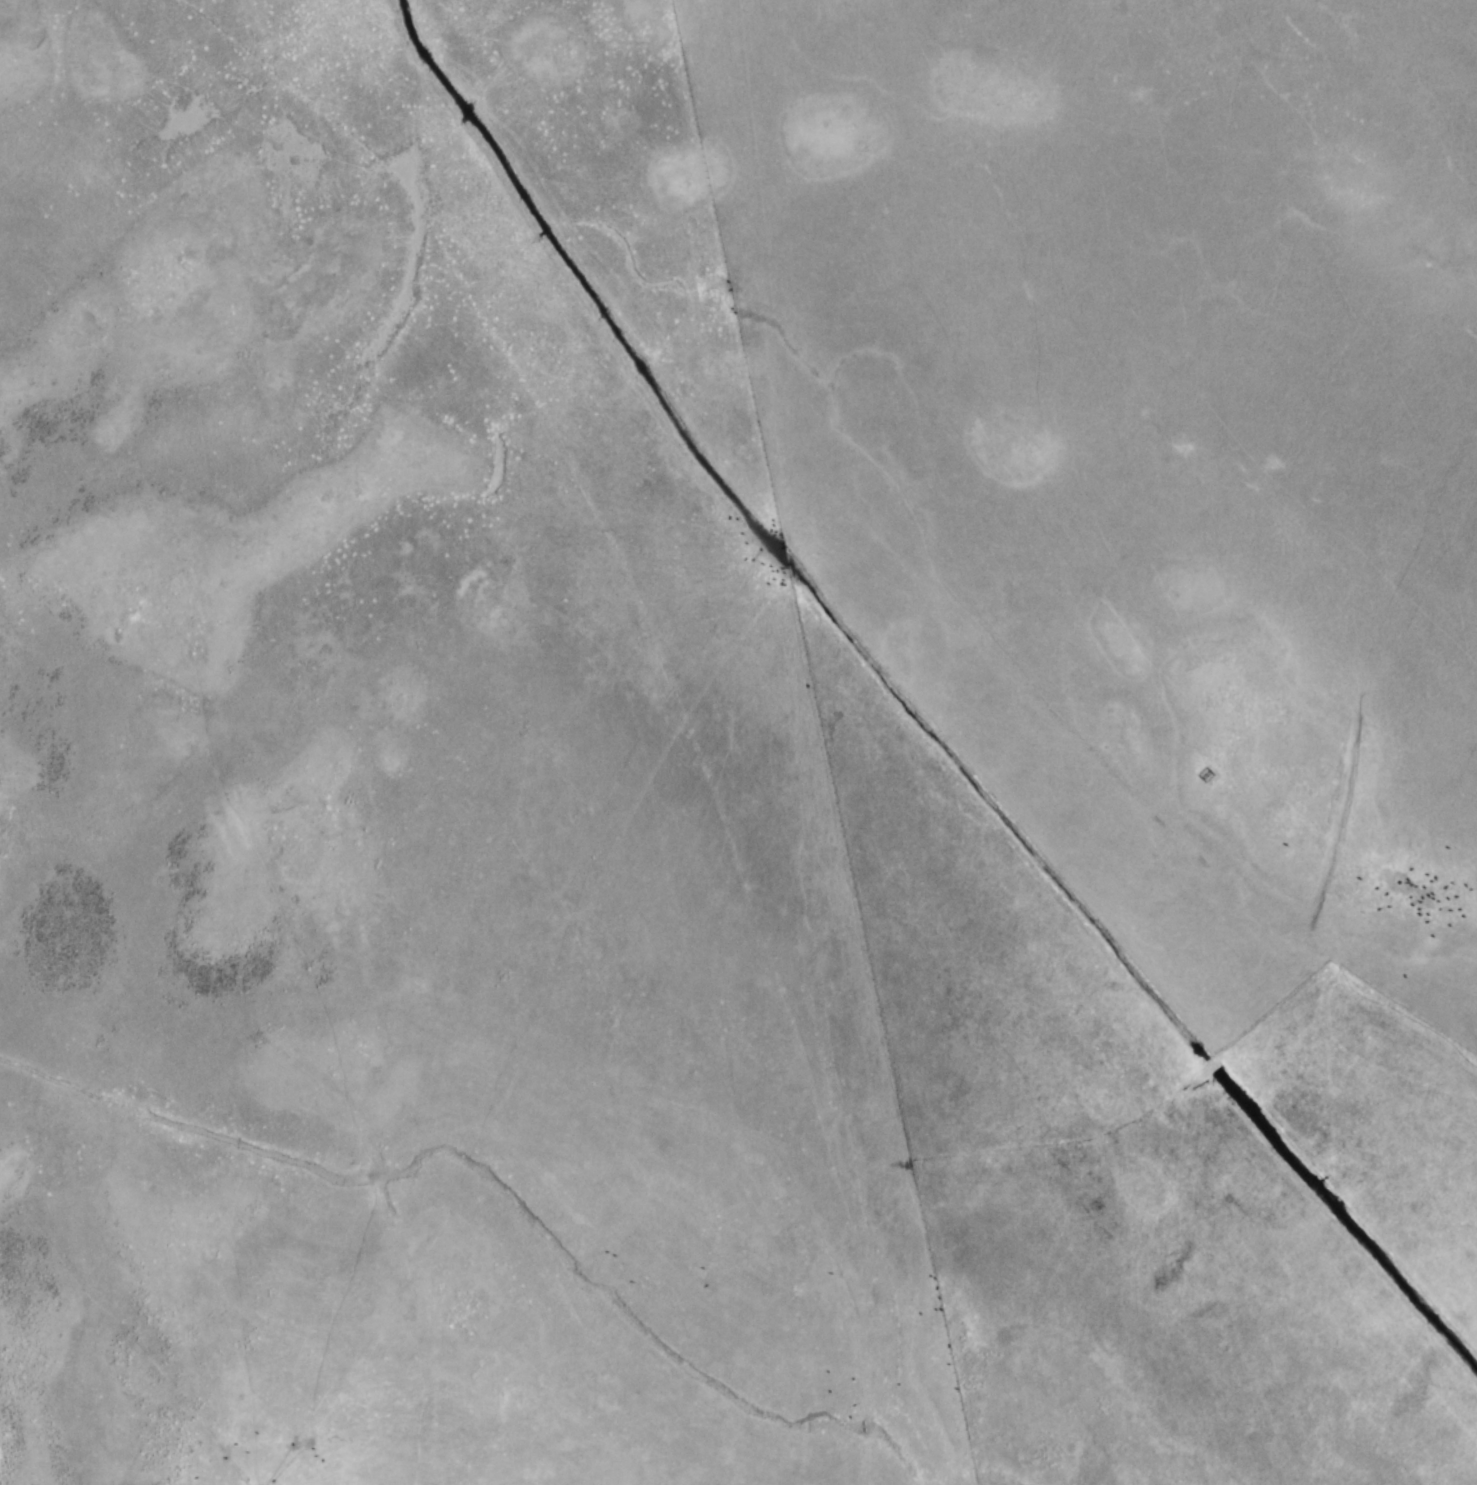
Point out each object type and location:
crop: (738, 742)

